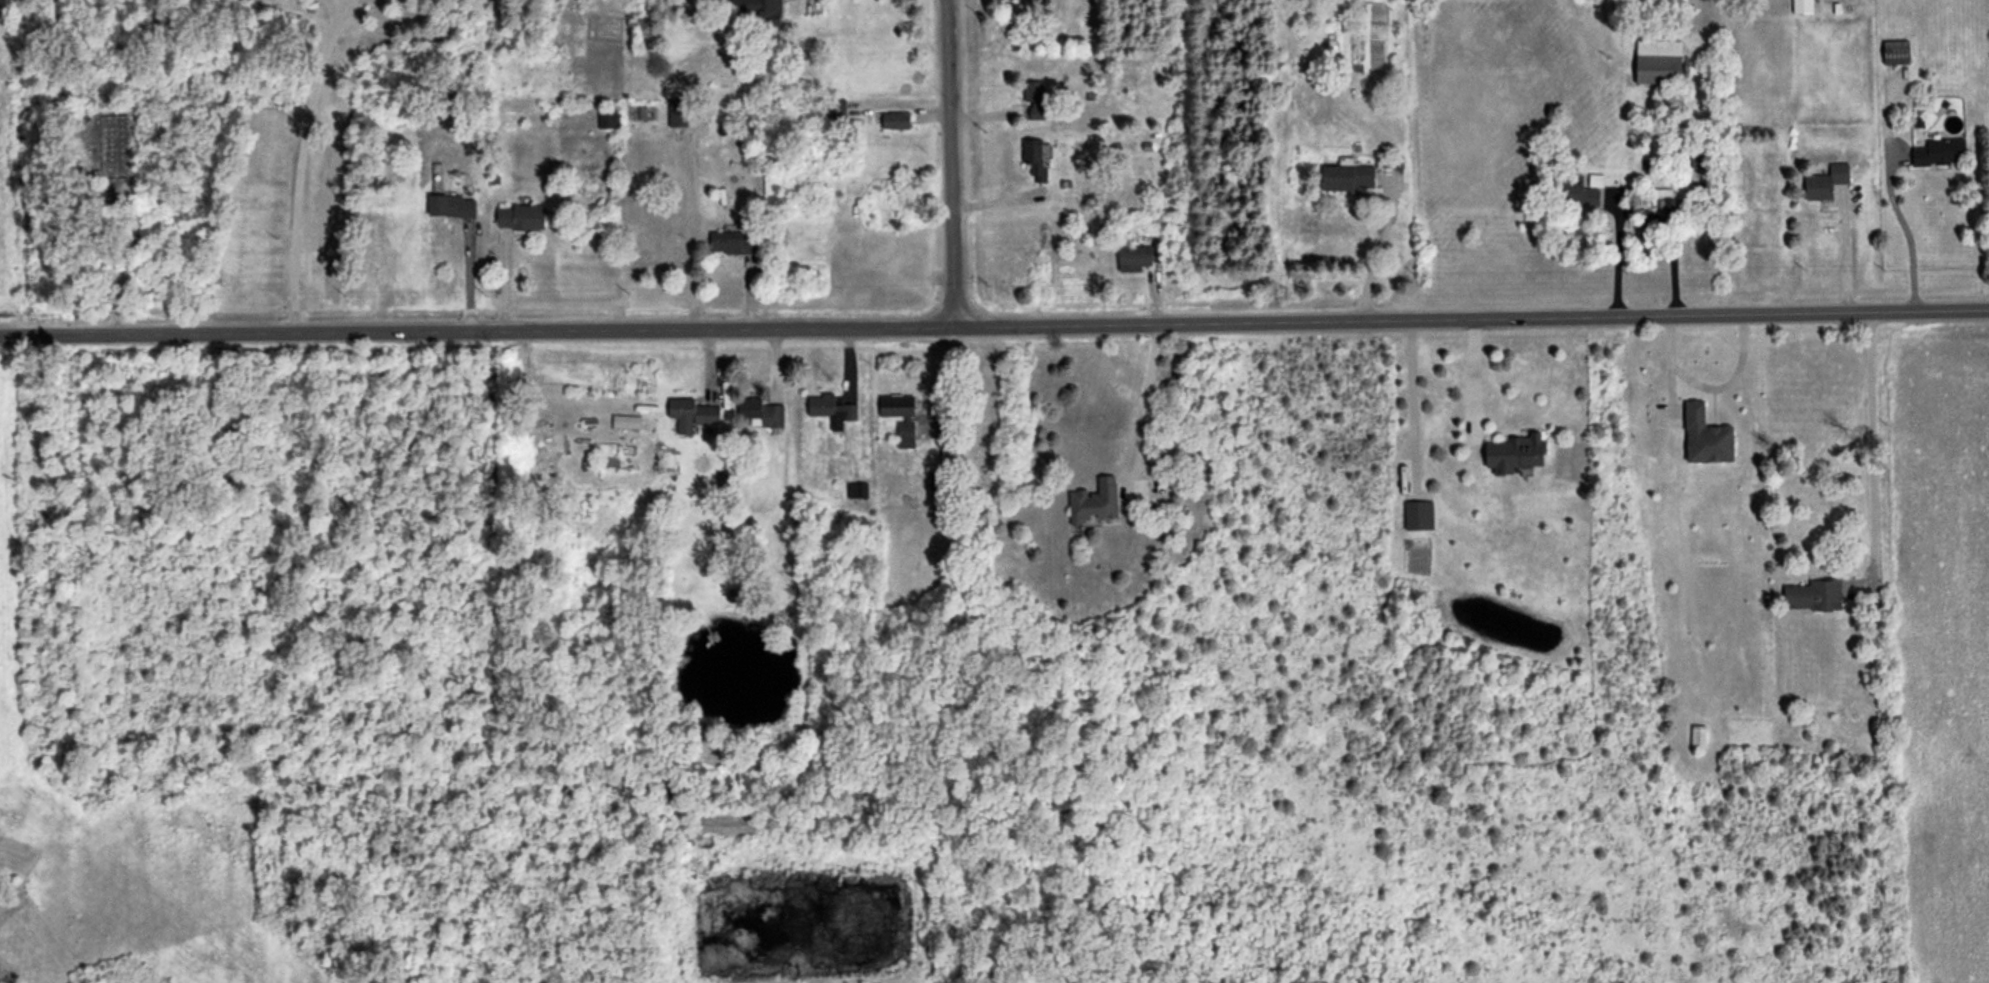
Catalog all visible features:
building: (761, 10)
building: (1658, 60)
building: (1034, 97)
building: (677, 112)
building: (608, 118)
building: (1034, 157)
road: (952, 162)
road: (297, 166)
building: (1346, 177)
building: (1826, 181)
building: (451, 205)
building: (1668, 206)
road: (1638, 209)
building: (521, 216)
road: (1907, 229)
building: (733, 242)
road: (1378, 247)
road: (1843, 253)
building: (1138, 256)
road: (994, 324)
road: (1669, 366)
road: (1474, 374)
road: (1730, 380)
road: (1410, 400)
road: (1145, 403)
building: (896, 405)
building: (832, 409)
building: (761, 410)
building: (692, 413)
building: (1695, 417)
building: (626, 421)
road: (1870, 449)
building: (1516, 452)
building: (1094, 501)
building: (1814, 594)

